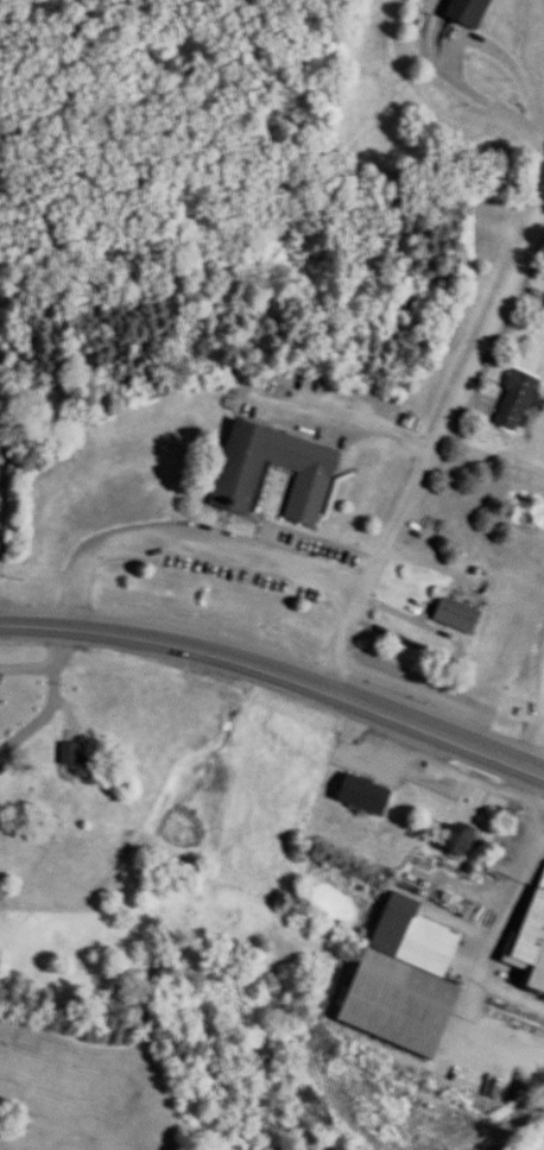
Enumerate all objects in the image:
building: (462, 13)
building: (543, 307)
building: (507, 400)
road: (431, 444)
building: (270, 473)
road: (189, 539)
building: (449, 614)
road: (279, 671)
building: (65, 752)
building: (358, 794)
building: (449, 838)
building: (448, 899)
building: (527, 940)
building: (396, 975)

